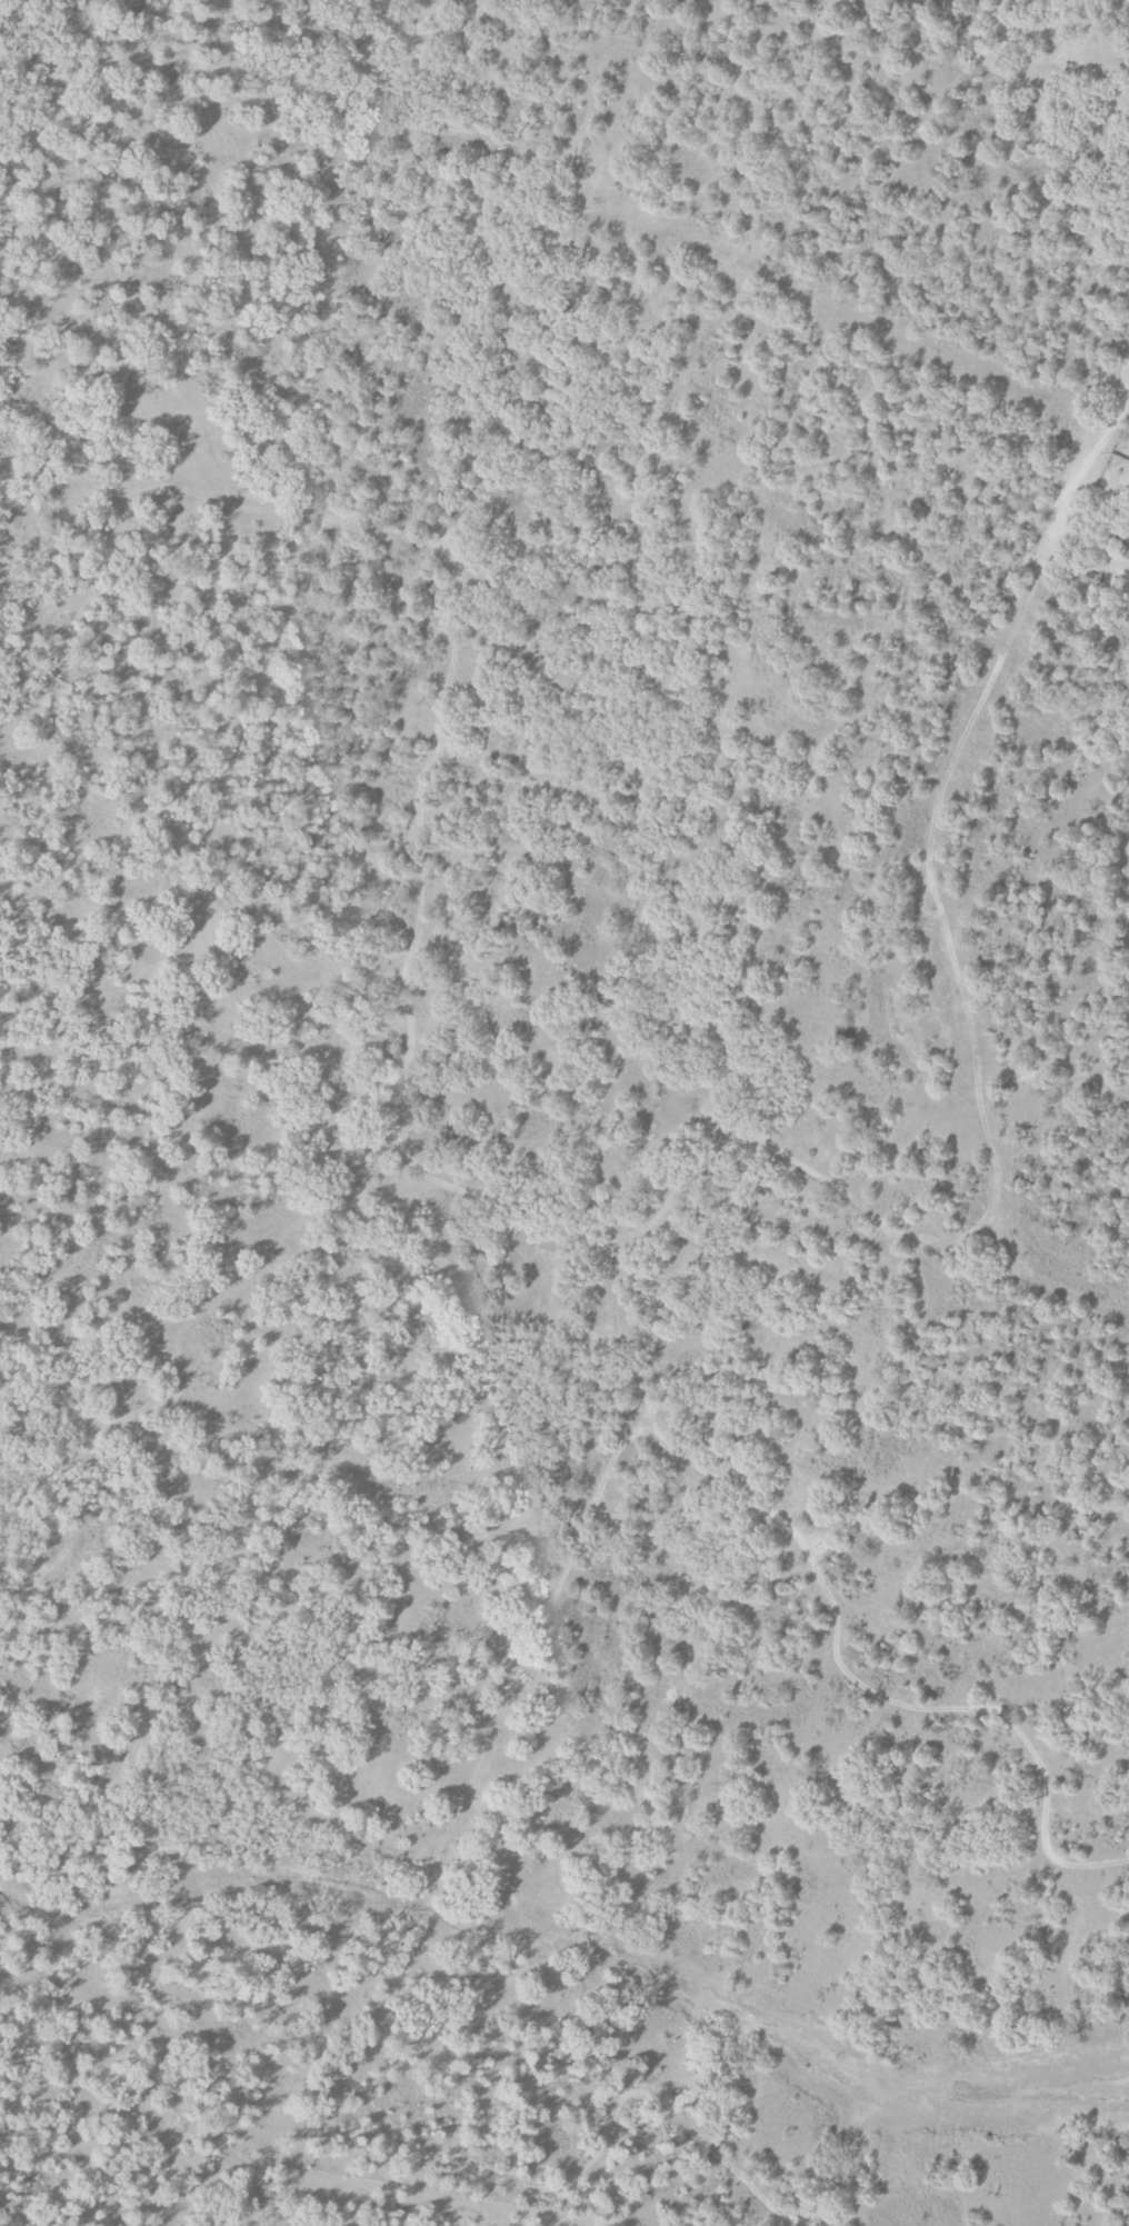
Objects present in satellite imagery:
road: (1086, 458)
building: (1127, 558)

